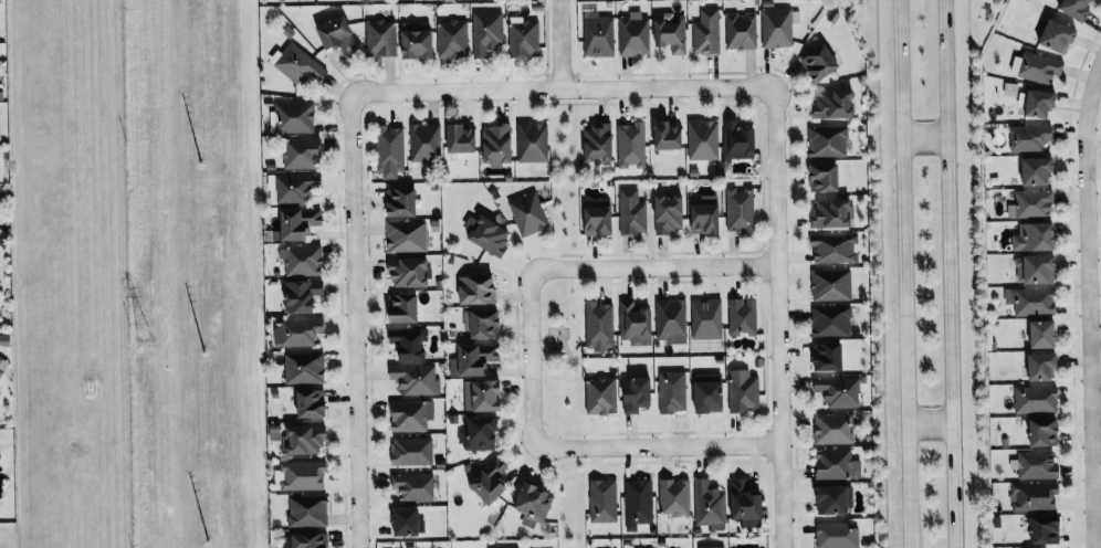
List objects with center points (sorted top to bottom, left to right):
building: (1078, 7)
building: (777, 27)
building: (741, 30)
building: (671, 31)
building: (706, 31)
building: (486, 33)
building: (598, 33)
building: (633, 34)
building: (1058, 35)
building: (337, 36)
building: (380, 38)
building: (524, 38)
building: (452, 39)
building: (418, 41)
road: (562, 44)
building: (821, 62)
building: (300, 65)
building: (1039, 66)
road: (563, 88)
building: (1040, 102)
building: (835, 103)
building: (295, 116)
building: (669, 134)
road: (923, 136)
building: (462, 137)
building: (1030, 137)
building: (703, 139)
building: (532, 140)
building: (737, 140)
building: (828, 140)
building: (426, 141)
building: (598, 141)
building: (497, 144)
building: (631, 144)
building: (390, 151)
building: (302, 152)
building: (1038, 170)
building: (825, 177)
building: (296, 187)
building: (402, 202)
building: (1032, 203)
building: (740, 210)
building: (631, 212)
building: (831, 212)
building: (527, 213)
building: (669, 213)
building: (705, 215)
building: (598, 218)
building: (300, 222)
building: (487, 234)
building: (407, 235)
building: (1036, 236)
building: (835, 249)
building: (302, 260)
road: (654, 266)
building: (1040, 267)
building: (409, 271)
road: (947, 273)
road: (904, 274)
road: (1091, 282)
building: (831, 283)
building: (478, 288)
building: (302, 295)
building: (1031, 301)
building: (403, 307)
building: (743, 315)
building: (706, 318)
road: (778, 318)
building: (671, 320)
building: (831, 320)
road: (357, 322)
building: (482, 323)
building: (635, 323)
building: (599, 326)
power tower: (145, 331)
building: (298, 331)
building: (1044, 334)
building: (409, 341)
building: (828, 356)
park: (562, 357)
building: (474, 359)
road: (532, 360)
building: (1044, 366)
building: (2, 367)
building: (304, 367)
building: (416, 378)
building: (743, 390)
building: (839, 390)
building: (672, 391)
building: (710, 392)
building: (637, 393)
building: (483, 394)
building: (601, 396)
building: (1036, 399)
building: (312, 403)
building: (411, 414)
road: (929, 424)
building: (833, 428)
building: (1045, 432)
building: (480, 433)
building: (301, 438)
road: (661, 445)
building: (411, 451)
building: (0, 454)
building: (837, 464)
building: (1036, 465)
building: (303, 474)
building: (490, 479)
building: (413, 486)
building: (674, 496)
building: (1034, 496)
building: (833, 499)
building: (602, 500)
building: (638, 503)
building: (745, 503)
building: (534, 504)
building: (710, 505)
building: (307, 510)
building: (407, 521)
building: (1046, 529)
building: (837, 535)
building: (310, 540)
building: (711, 546)

